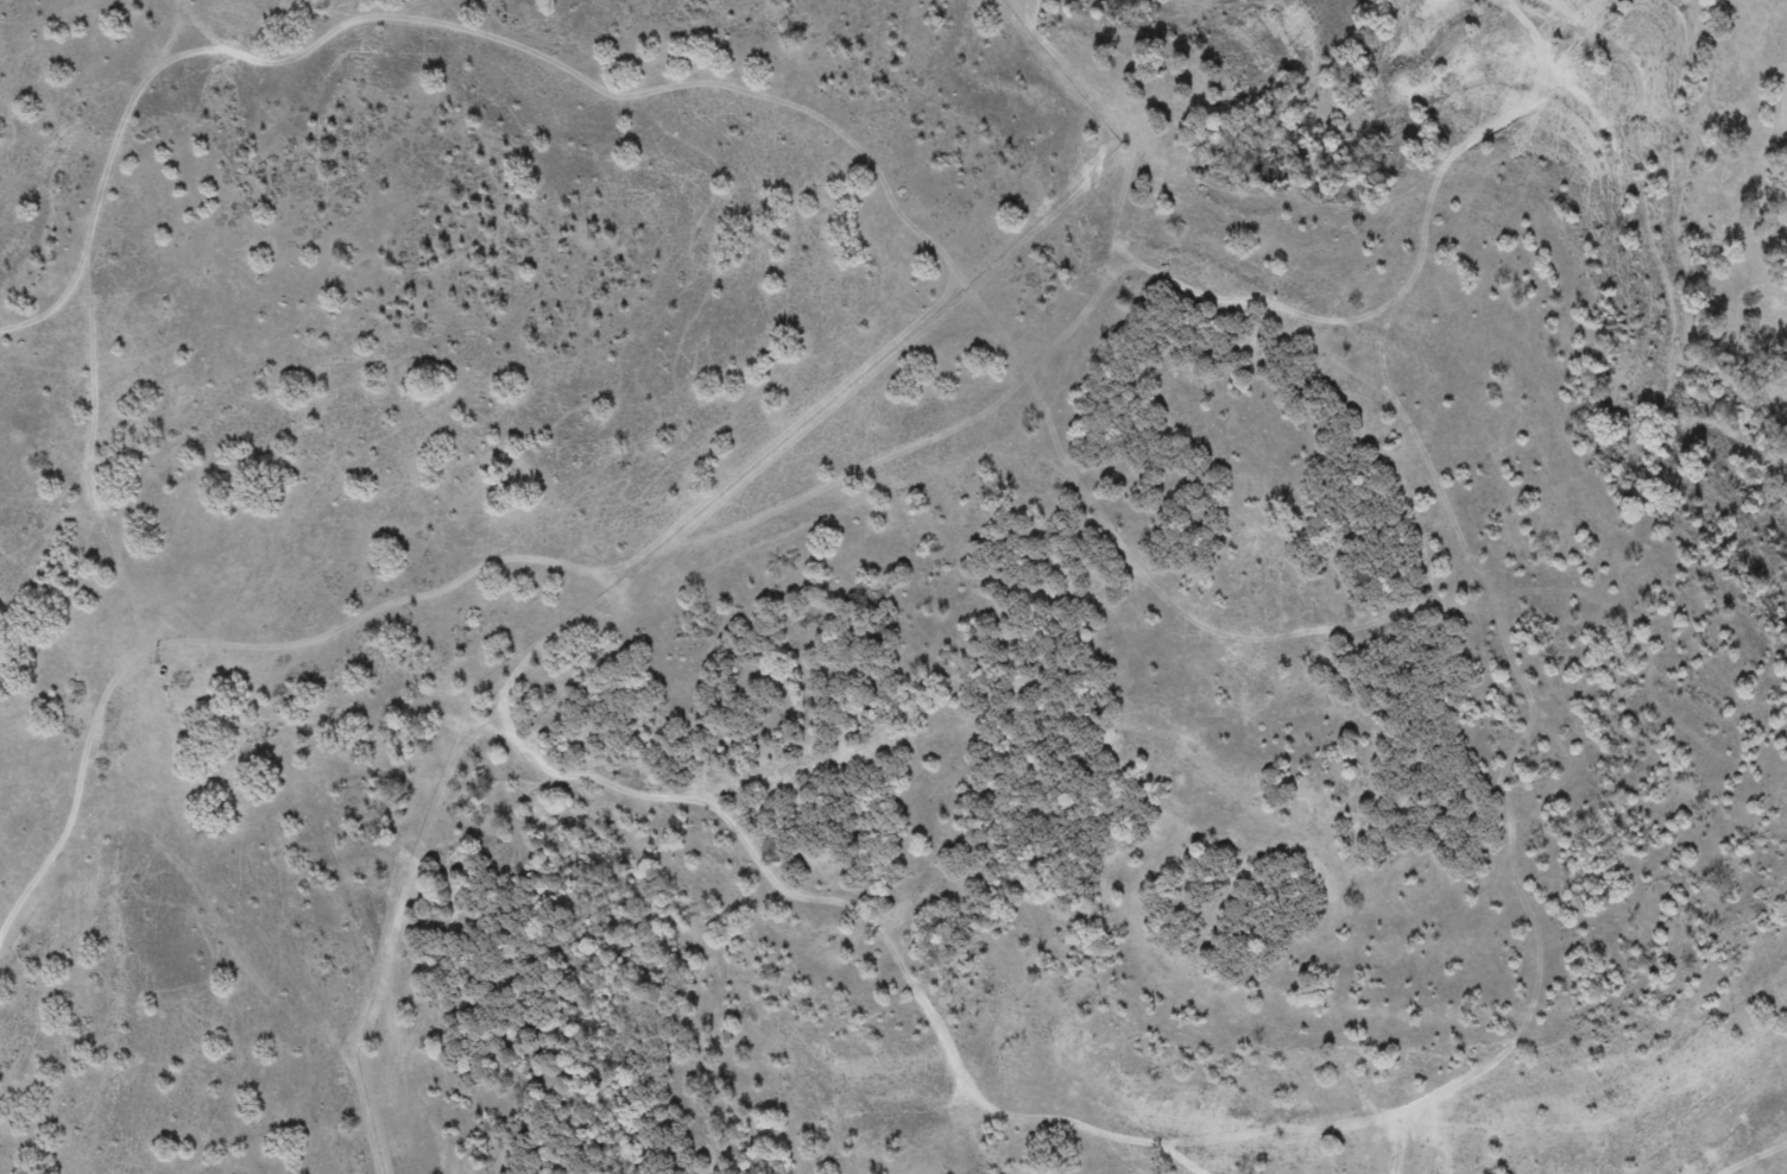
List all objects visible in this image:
road: (173, 551)

